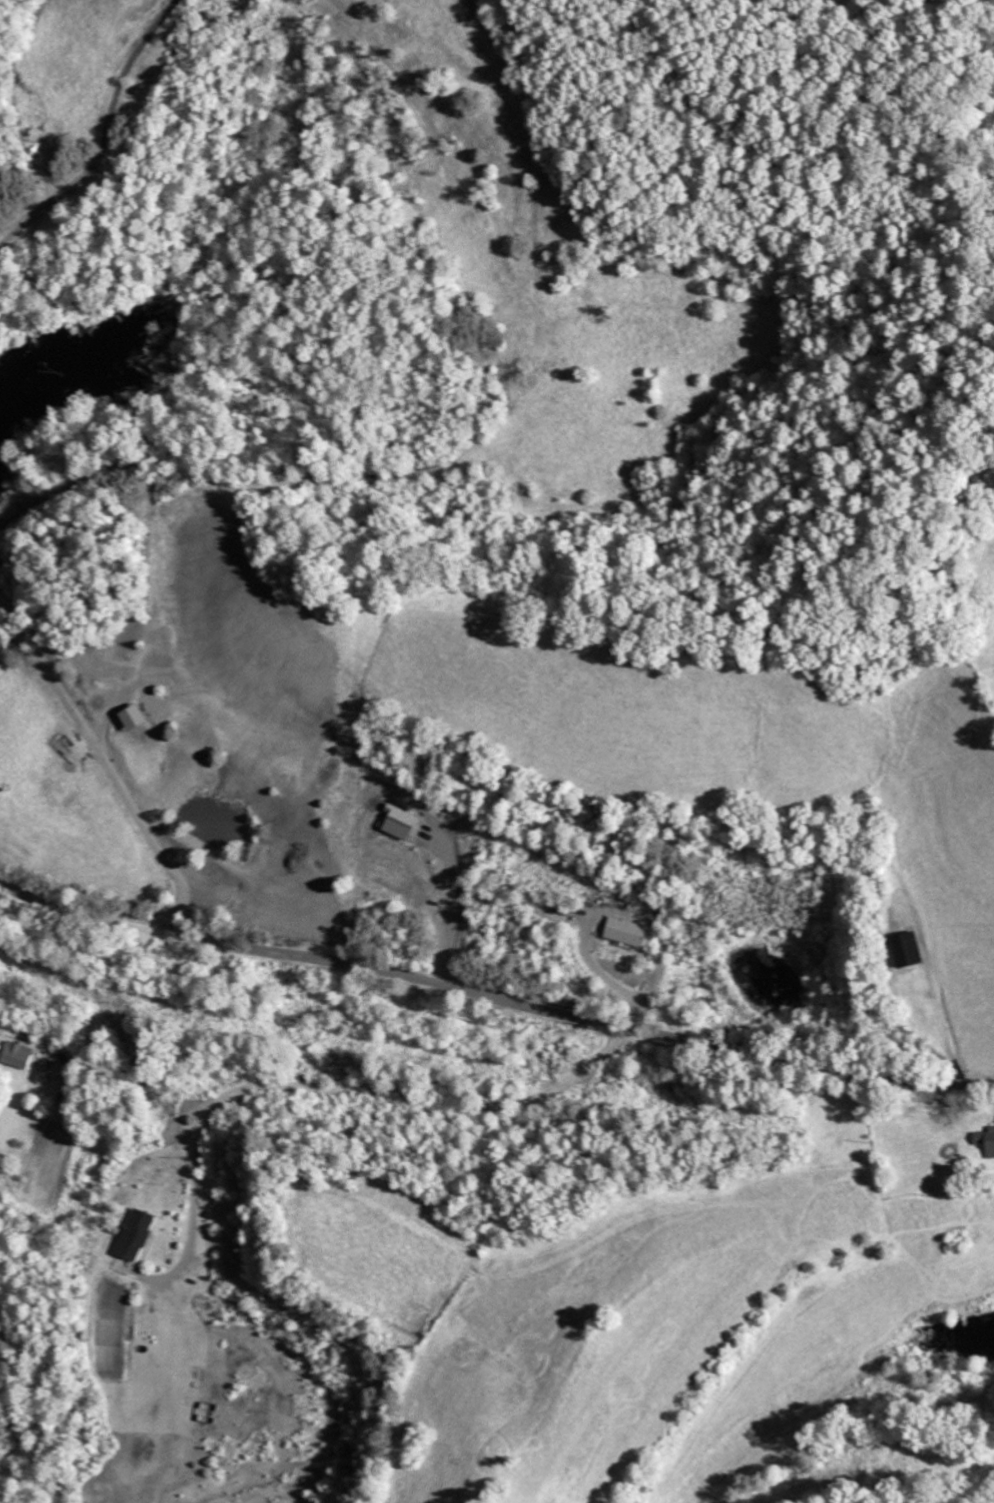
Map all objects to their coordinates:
building: (631, 932)
building: (913, 948)
road: (494, 995)
building: (21, 1055)
building: (987, 1140)
building: (140, 1235)

